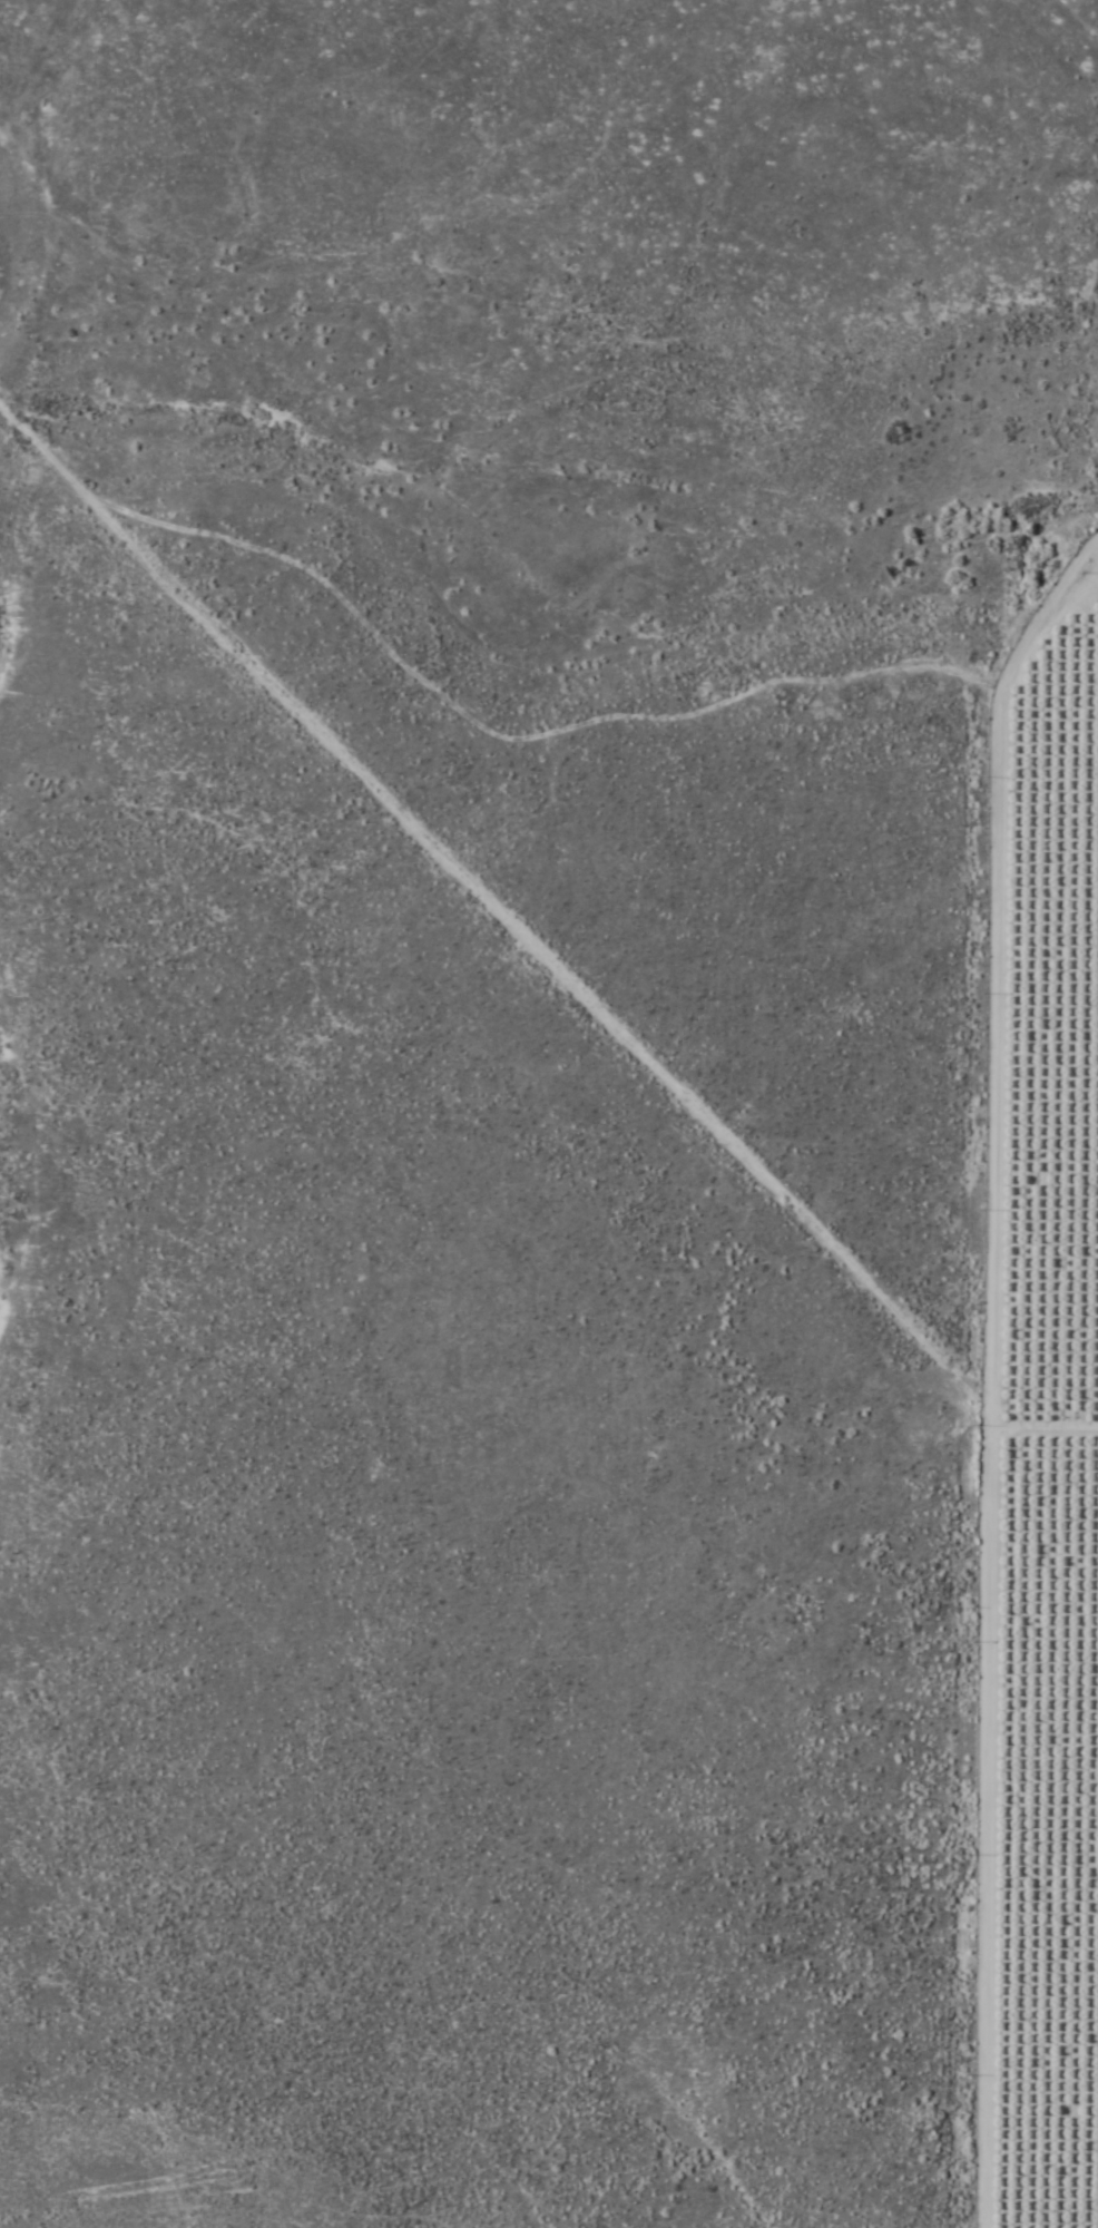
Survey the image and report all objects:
road: (972, 1327)
road: (1036, 1393)

